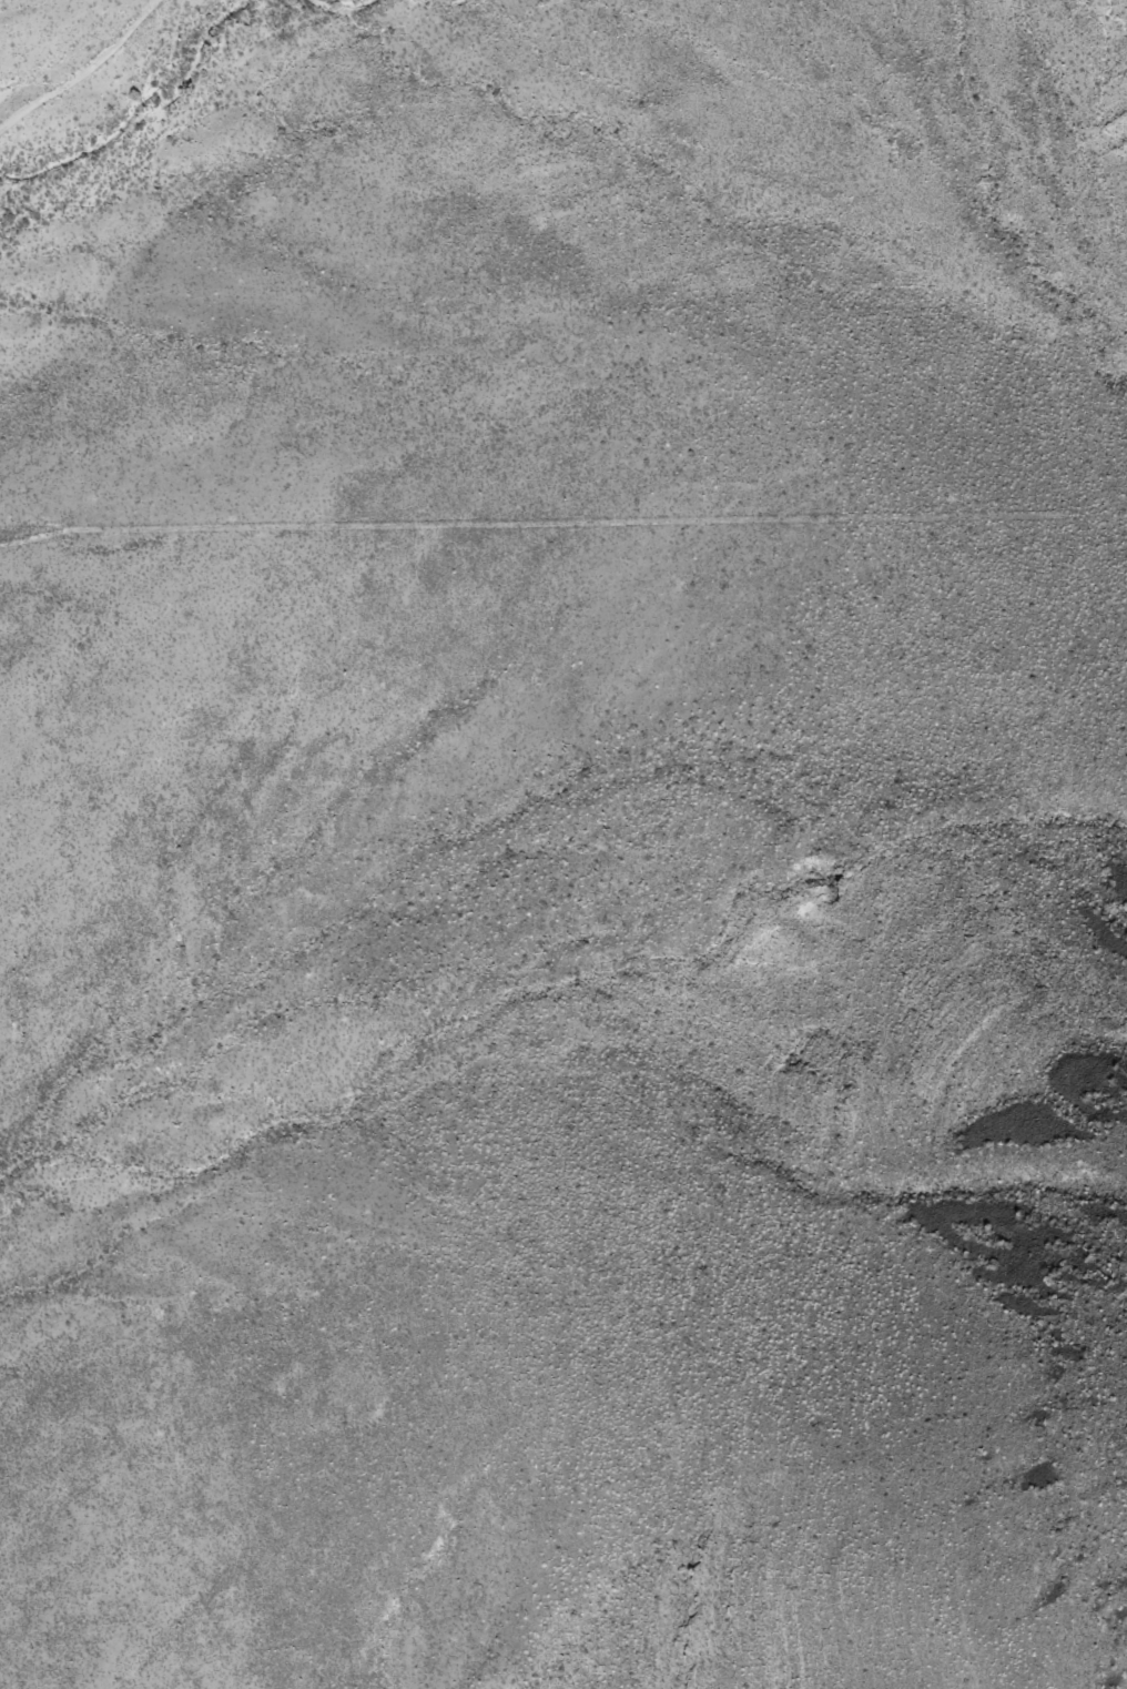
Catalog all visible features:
road: (93, 64)

